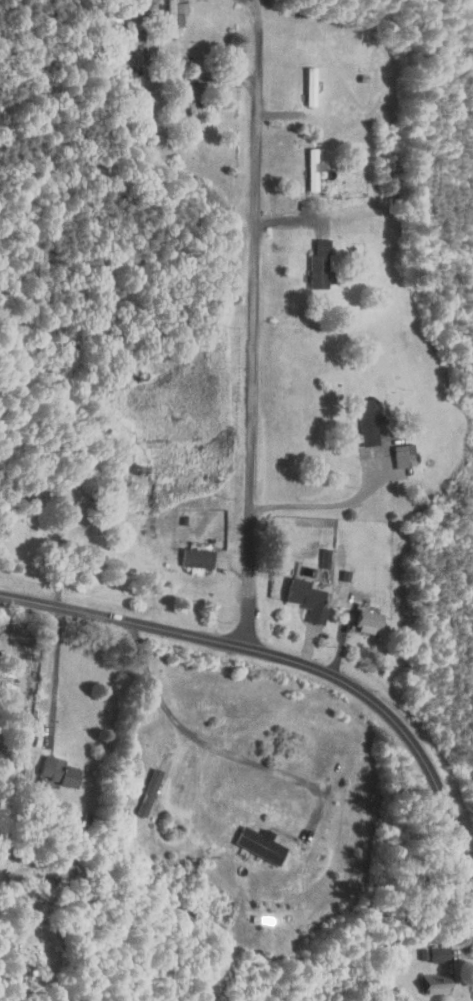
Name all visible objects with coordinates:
building: (166, 12)
road: (170, 80)
building: (304, 163)
road: (286, 219)
building: (310, 259)
road: (255, 320)
building: (358, 415)
building: (393, 448)
road: (321, 505)
building: (188, 549)
building: (316, 551)
building: (298, 592)
building: (358, 615)
road: (290, 656)
road: (56, 678)
road: (213, 746)
building: (49, 764)
building: (139, 785)
building: (254, 837)
building: (431, 946)
building: (427, 980)

